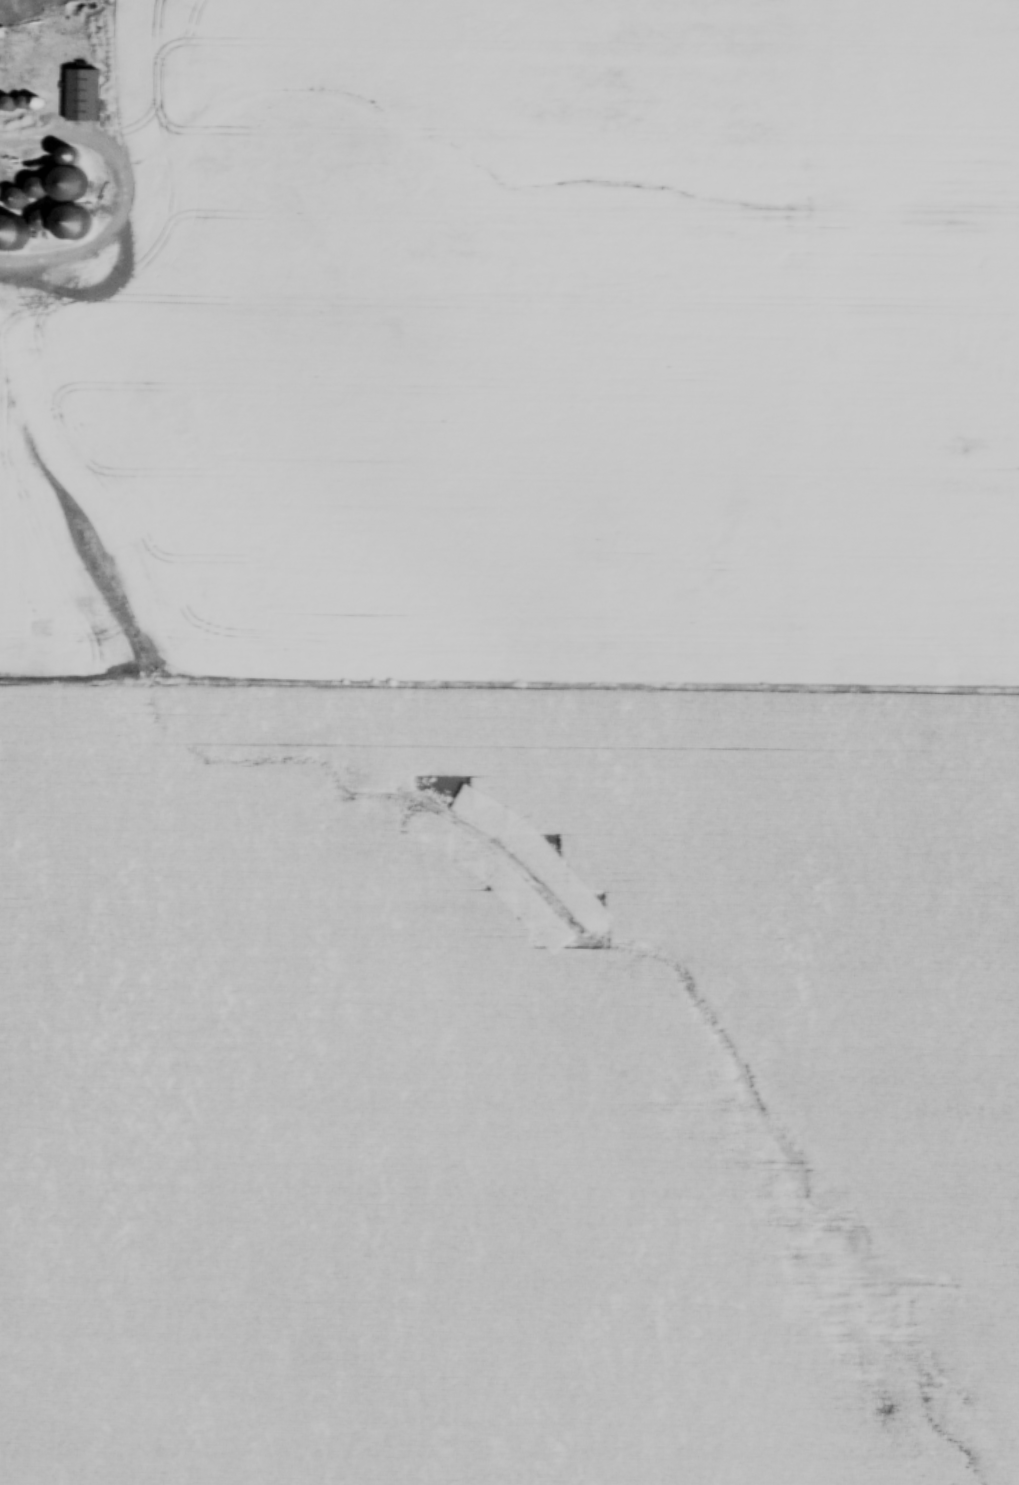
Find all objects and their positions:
building: (80, 98)
road: (130, 198)

